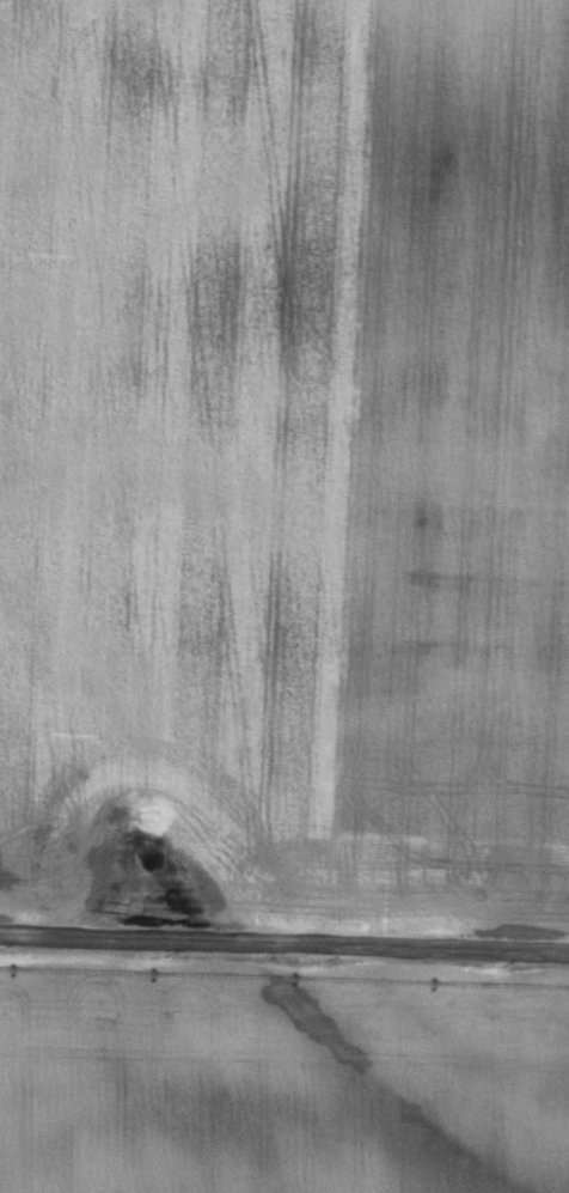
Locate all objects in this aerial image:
crop: (284, 459)
road: (284, 936)
crop: (280, 1075)

